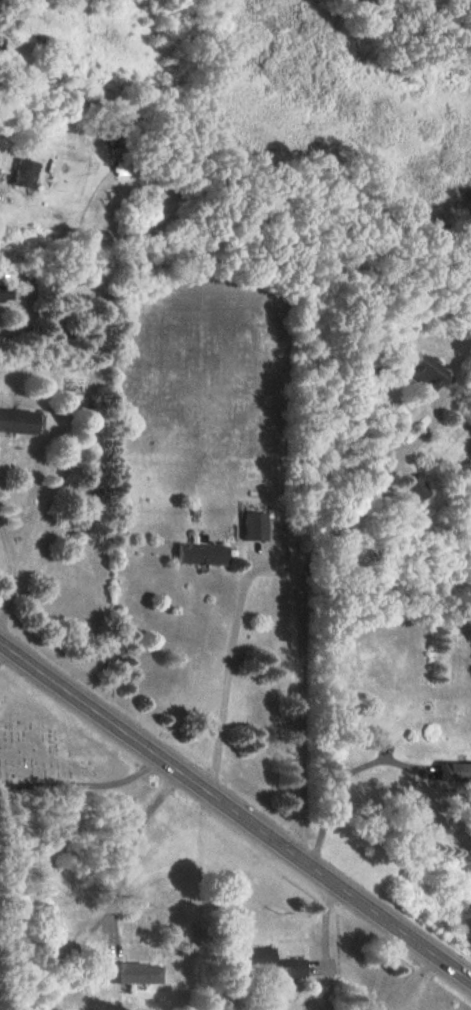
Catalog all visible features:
building: (19, 0)
building: (2, 46)
building: (21, 174)
building: (5, 293)
building: (420, 372)
building: (15, 422)
building: (414, 488)
building: (253, 526)
building: (198, 554)
road: (8, 558)
road: (257, 572)
park: (46, 748)
building: (456, 772)
road: (340, 780)
road: (235, 813)
road: (121, 893)
building: (44, 927)
building: (269, 963)
road: (379, 969)
building: (134, 973)

